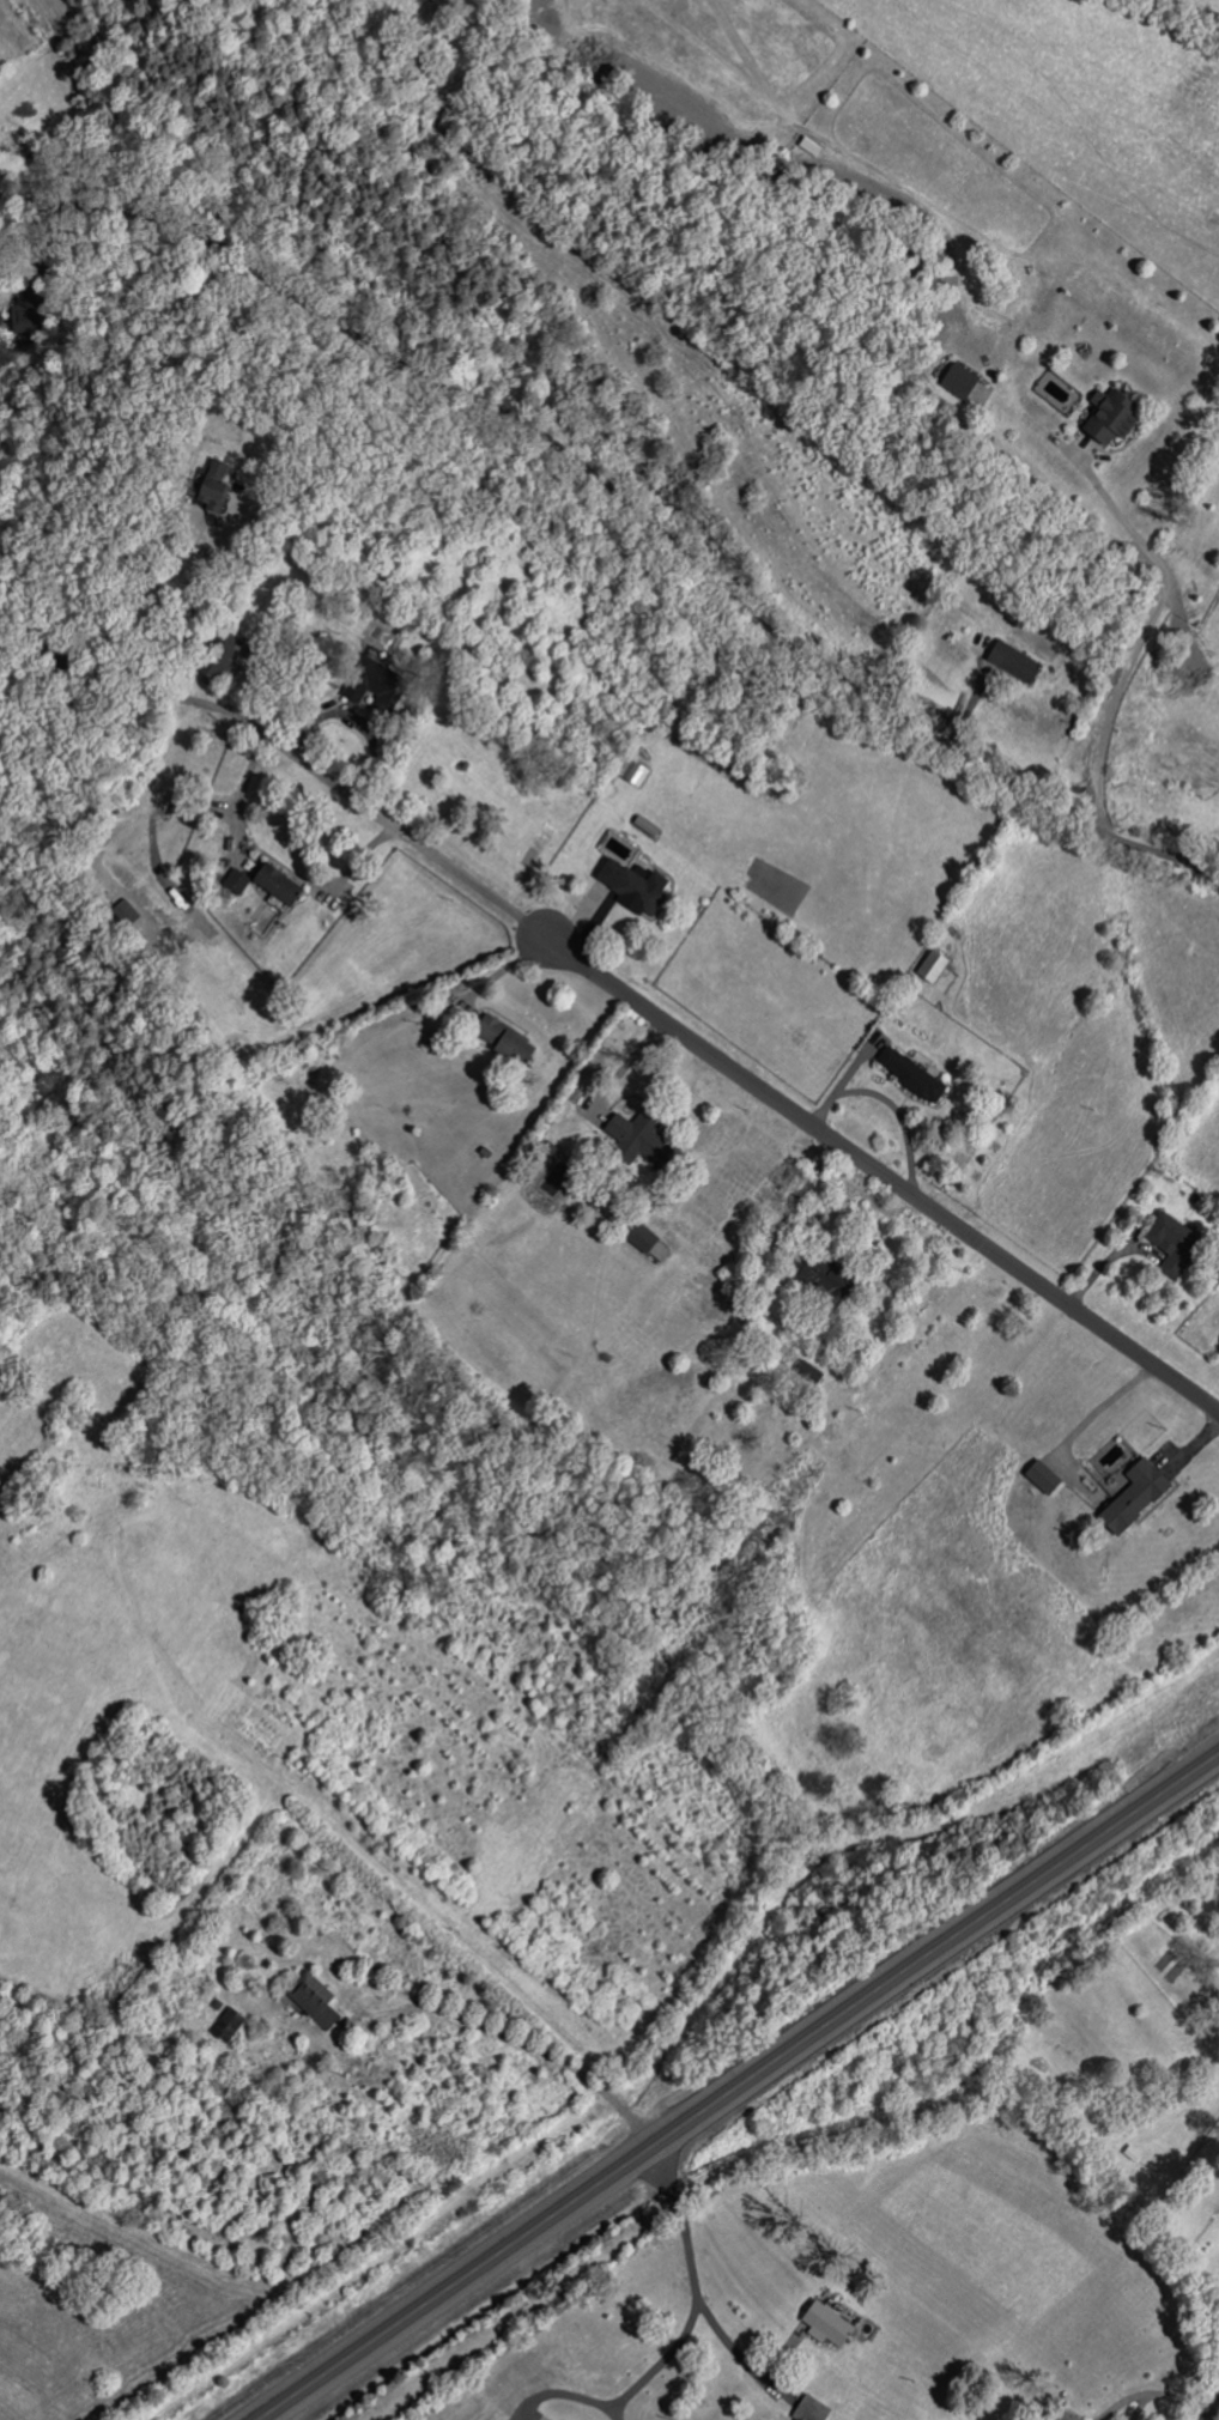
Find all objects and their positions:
building: (958, 382)
building: (1105, 418)
building: (213, 487)
road: (623, 501)
road: (170, 626)
road: (1140, 633)
building: (216, 659)
building: (1012, 662)
building: (370, 685)
road: (113, 706)
building: (631, 772)
building: (236, 883)
building: (274, 885)
building: (631, 886)
building: (123, 915)
building: (930, 968)
building: (502, 1042)
road: (710, 1055)
building: (908, 1075)
building: (632, 1139)
building: (638, 1237)
building: (1170, 1244)
building: (815, 1278)
building: (808, 1373)
building: (1041, 1478)
building: (1133, 1497)
building: (313, 2002)
road: (468, 2018)
building: (229, 2027)
road: (739, 2087)
building: (825, 2327)
road: (680, 2340)
road: (734, 2355)
road: (1213, 2412)

